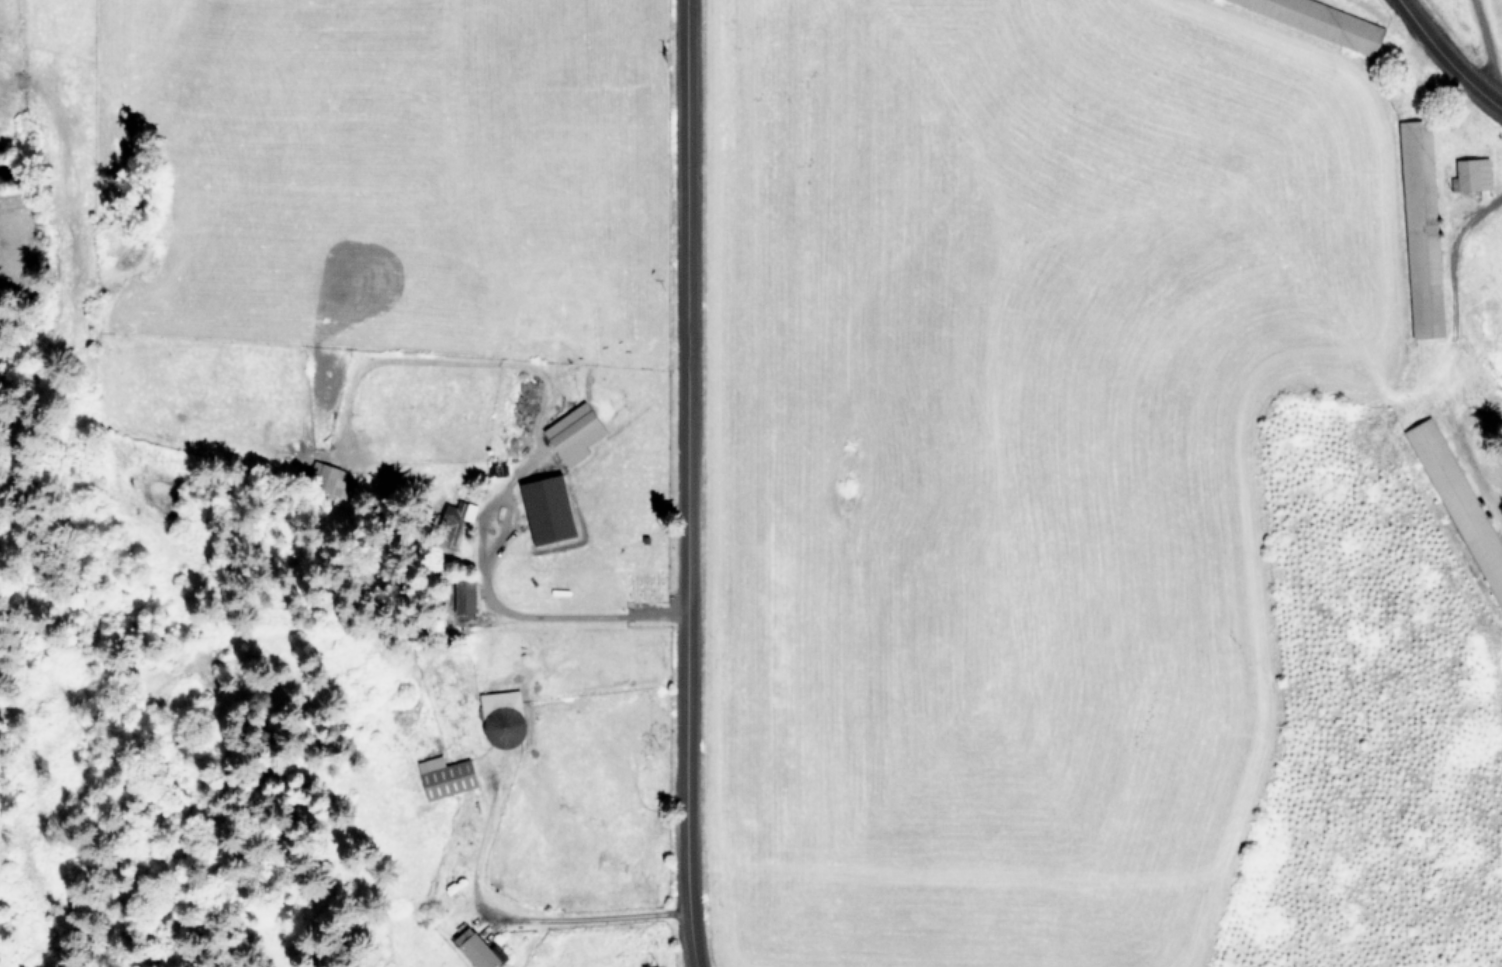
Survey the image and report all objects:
building: (1325, 20)
road: (1443, 61)
building: (1474, 173)
building: (576, 432)
road: (679, 483)
building: (550, 508)
building: (504, 718)
building: (446, 776)
building: (478, 948)

